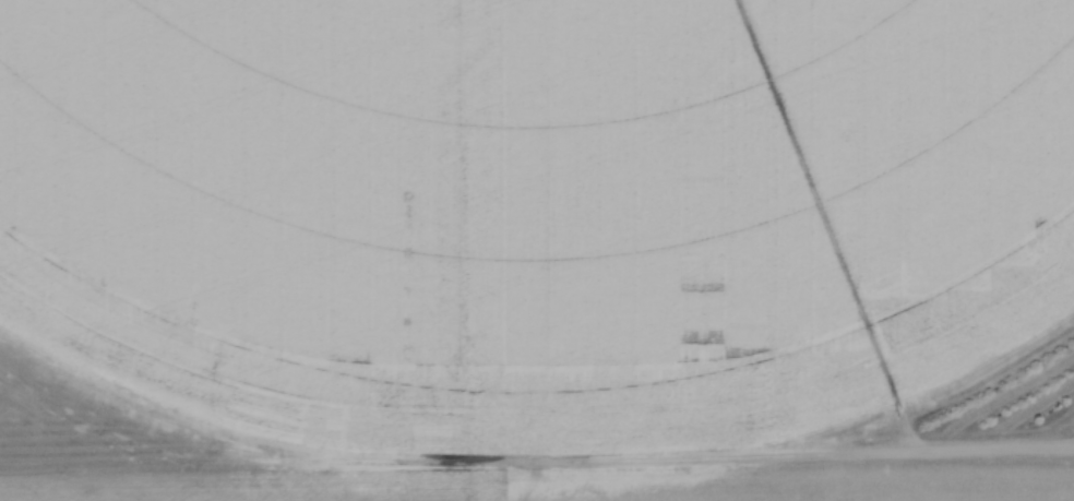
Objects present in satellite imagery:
building: (823, 200)
building: (657, 213)
building: (681, 339)
road: (537, 463)

